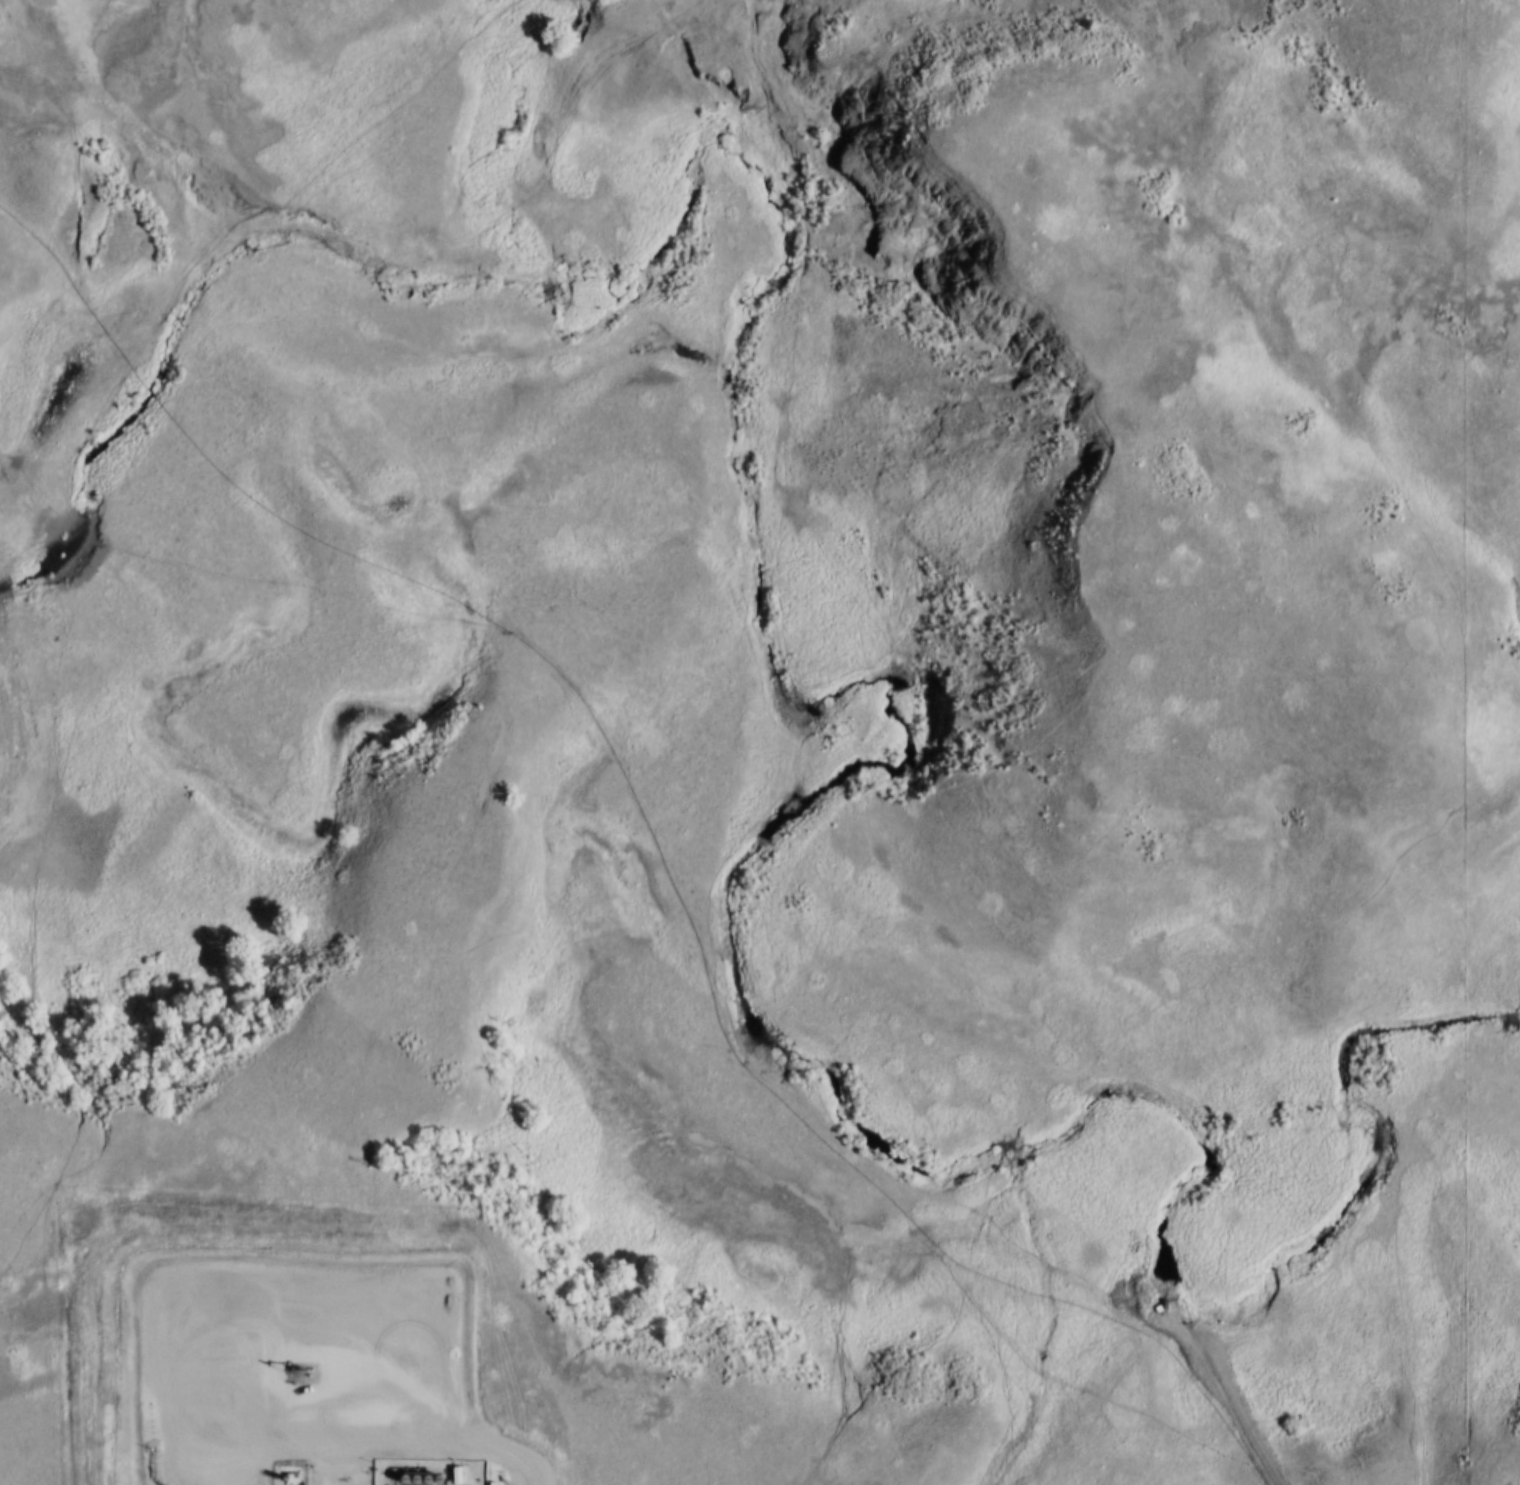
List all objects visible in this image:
petroleum well: (293, 1366)
road: (514, 1452)
building: (389, 1479)
storage tank: (389, 1479)
building: (401, 1479)
storage tank: (401, 1479)
building: (411, 1480)
storage tank: (411, 1480)
building: (422, 1481)
storage tank: (422, 1481)
building: (435, 1481)
storage tank: (435, 1481)

